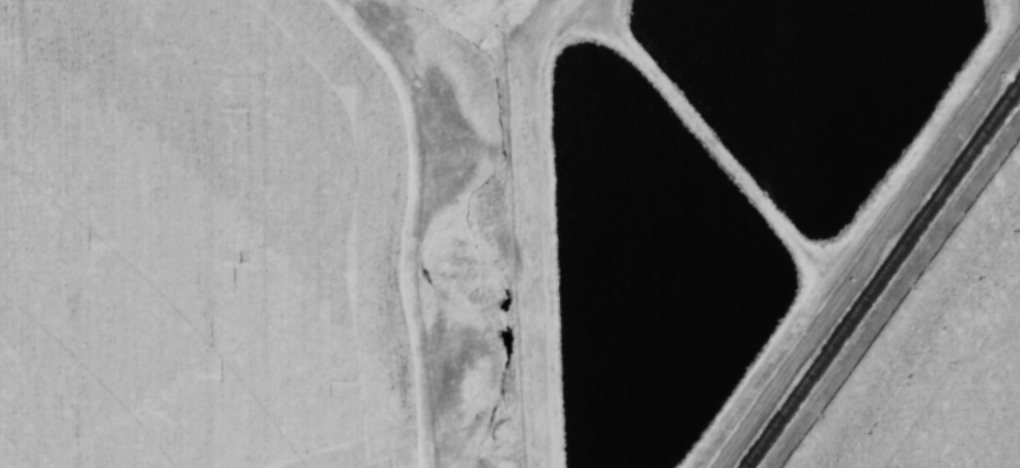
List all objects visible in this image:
railway: (880, 273)

